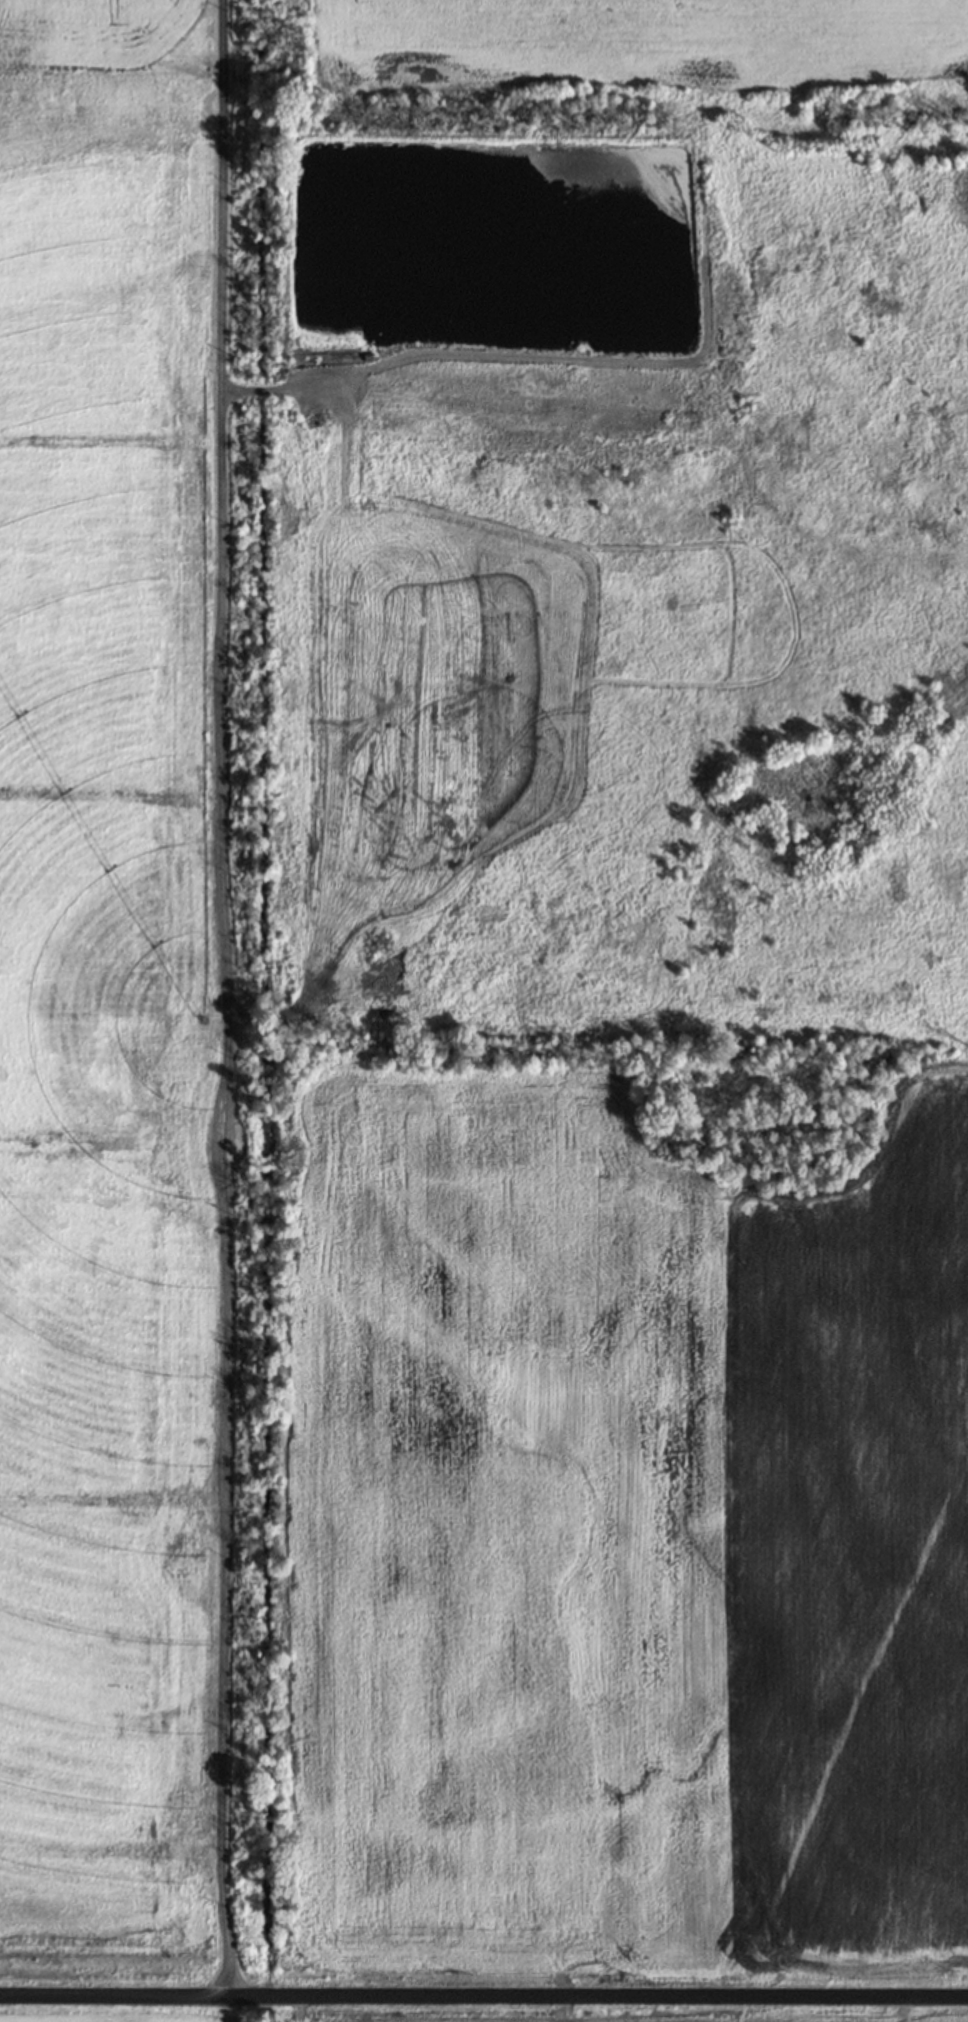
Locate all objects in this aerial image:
crop: (641, 44)
road: (228, 997)
road: (484, 1995)

